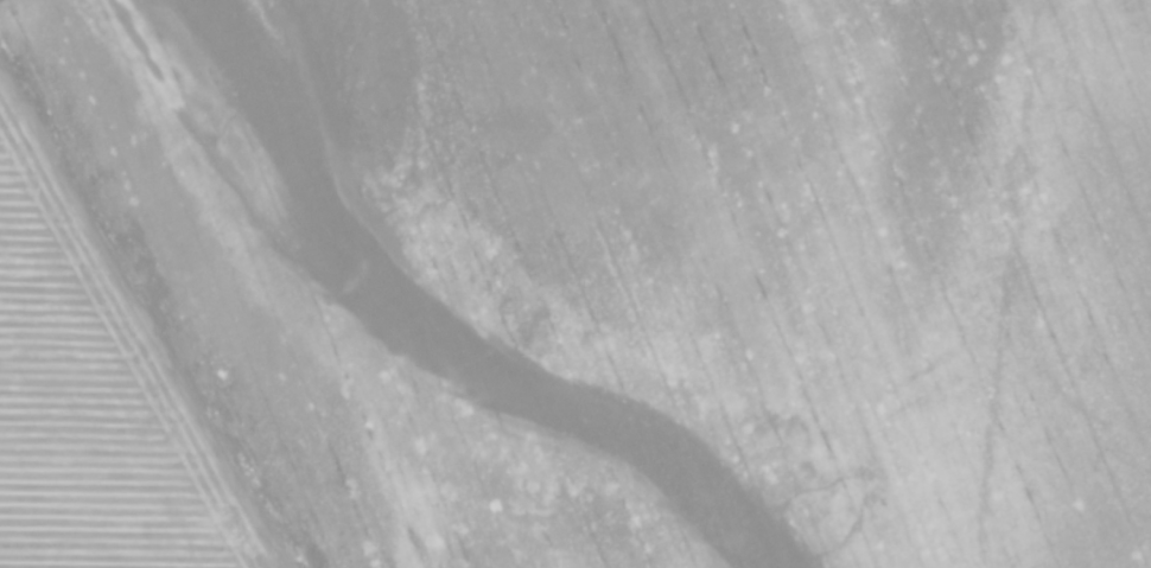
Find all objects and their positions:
crop: (644, 268)

